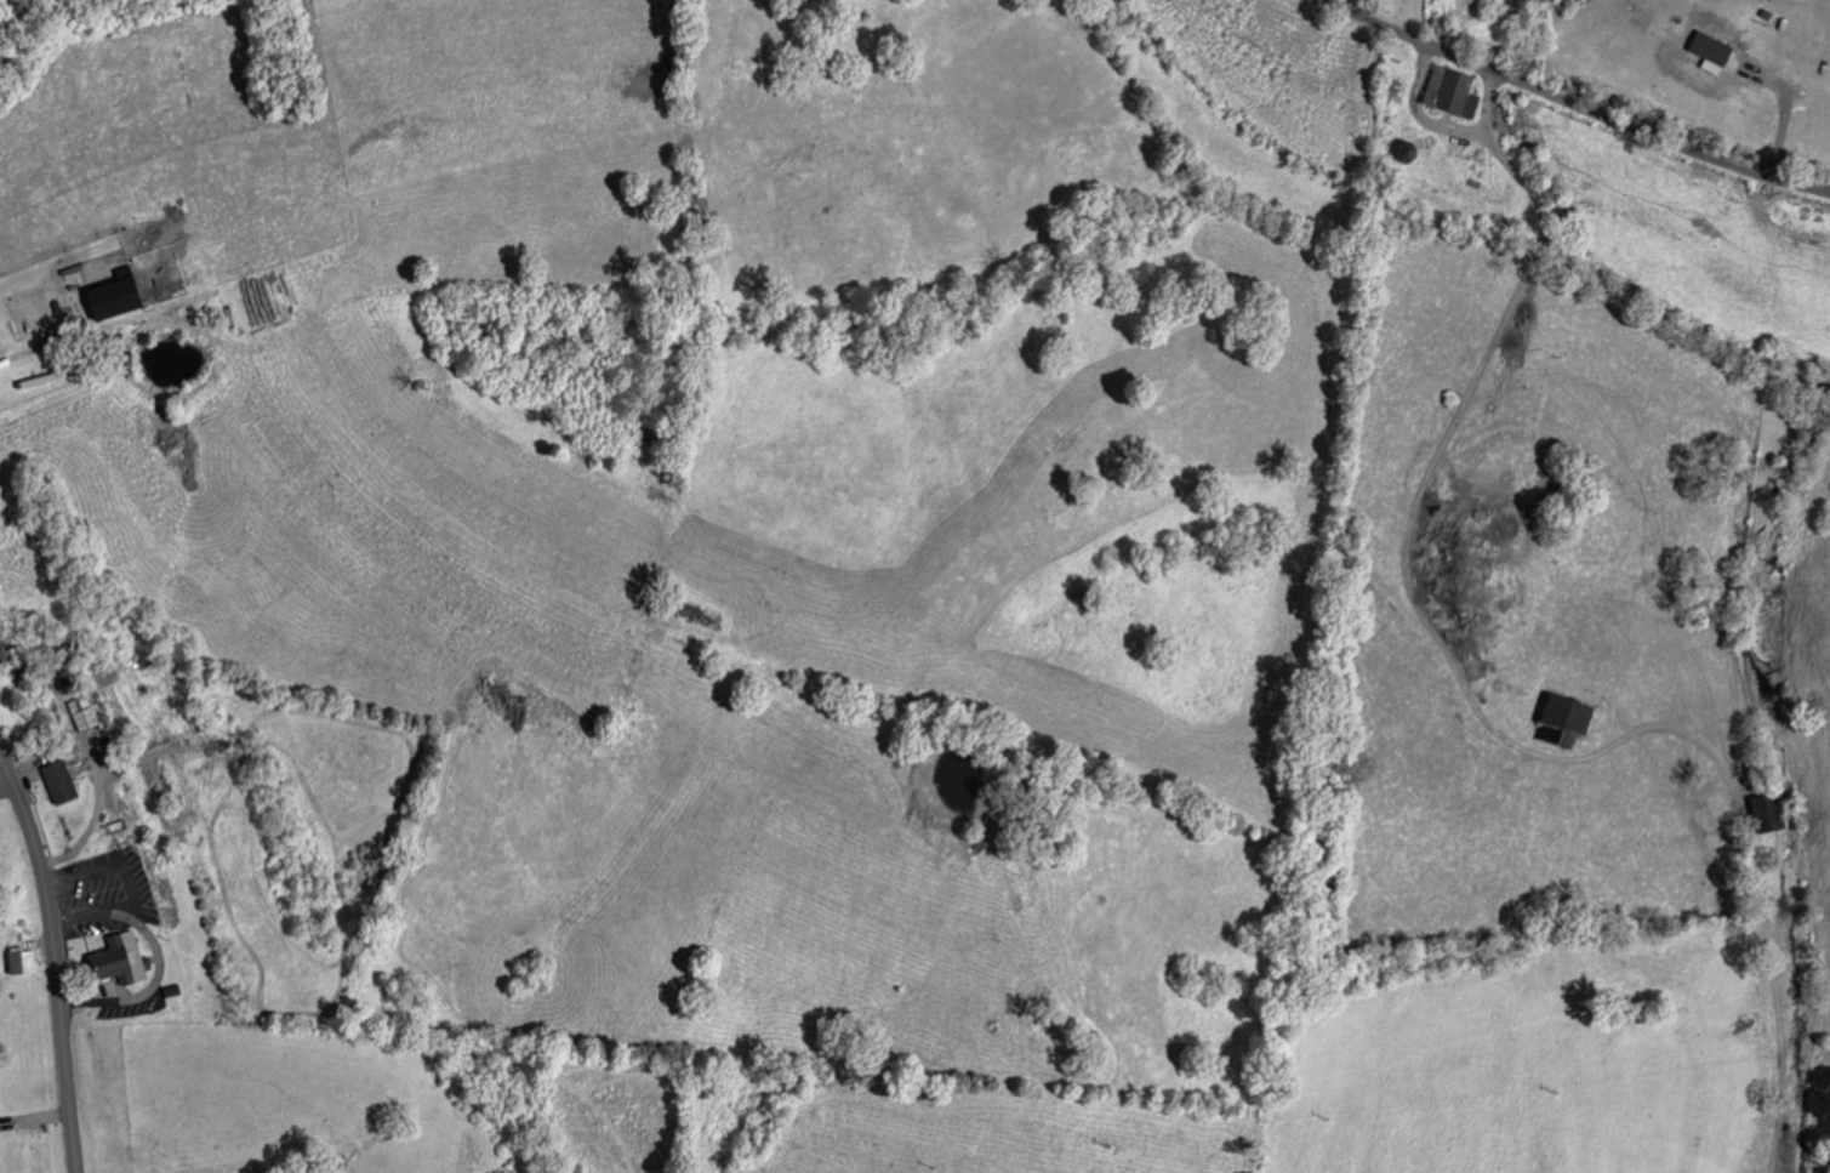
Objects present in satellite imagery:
building: (1712, 57)
building: (1446, 92)
road: (1575, 103)
road: (1416, 112)
building: (109, 296)
road: (1475, 705)
building: (81, 714)
building: (1558, 721)
building: (58, 779)
building: (1761, 814)
road: (55, 961)
building: (115, 961)
building: (18, 962)

